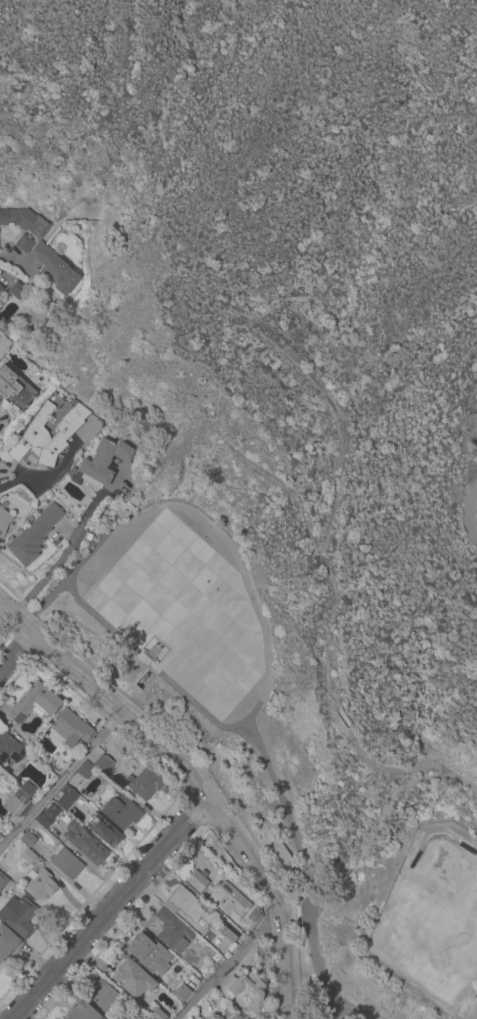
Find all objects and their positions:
building: (24, 220)
building: (24, 242)
road: (10, 254)
building: (56, 268)
building: (1, 288)
building: (17, 290)
building: (14, 388)
building: (47, 433)
building: (104, 460)
road: (6, 483)
road: (468, 514)
building: (3, 521)
building: (33, 534)
road: (61, 556)
road: (17, 653)
building: (33, 702)
building: (70, 727)
building: (10, 748)
building: (102, 763)
building: (85, 769)
road: (61, 780)
road: (195, 781)
building: (144, 782)
building: (66, 796)
building: (18, 799)
building: (121, 811)
building: (47, 815)
building: (103, 830)
building: (28, 838)
building: (84, 842)
building: (28, 855)
building: (282, 857)
building: (65, 862)
building: (2, 880)
building: (197, 881)
building: (40, 883)
building: (229, 900)
building: (191, 906)
road: (108, 909)
building: (18, 915)
park: (434, 919)
building: (172, 930)
building: (8, 942)
building: (224, 944)
building: (148, 952)
road: (234, 965)
building: (131, 976)
building: (181, 992)
building: (246, 992)
building: (103, 995)
building: (81, 1012)
building: (157, 1014)

